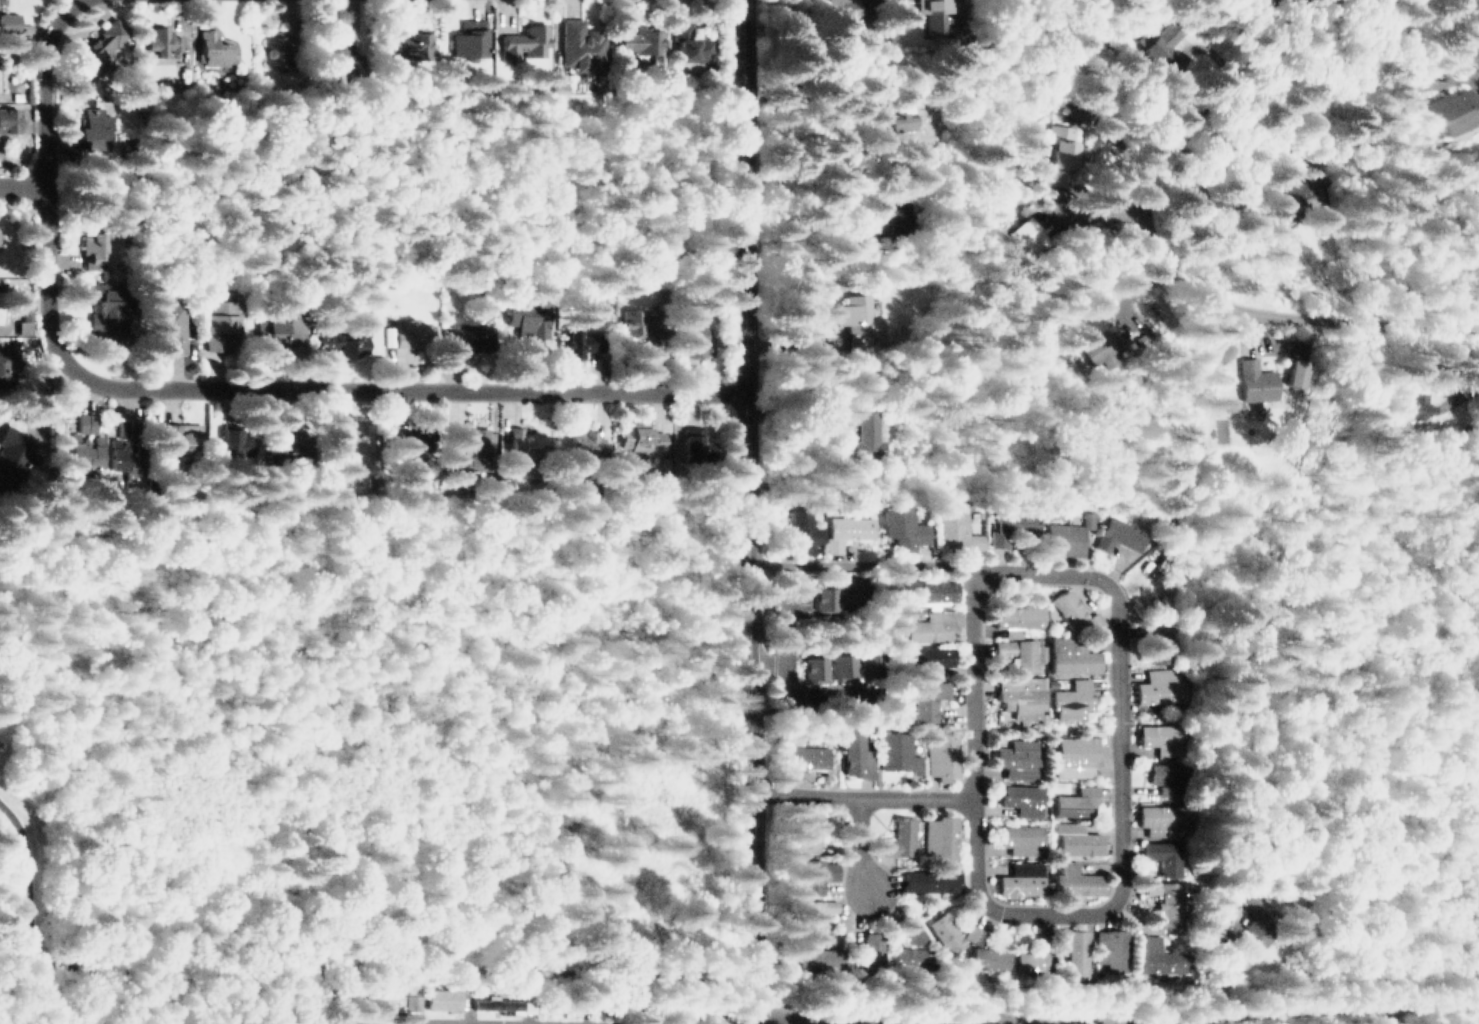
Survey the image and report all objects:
building: (842, 10)
building: (933, 14)
building: (8, 24)
building: (465, 37)
building: (642, 39)
building: (156, 40)
building: (522, 42)
building: (689, 42)
building: (411, 43)
building: (275, 44)
building: (97, 45)
building: (1160, 45)
building: (213, 47)
building: (582, 48)
building: (331, 58)
building: (1464, 112)
building: (8, 118)
building: (898, 119)
building: (93, 127)
building: (1061, 155)
road: (23, 184)
building: (1306, 200)
road: (1085, 208)
building: (896, 215)
road: (1151, 234)
building: (1019, 237)
building: (90, 248)
building: (104, 309)
building: (526, 316)
building: (219, 318)
building: (633, 318)
building: (856, 321)
building: (21, 322)
building: (170, 324)
building: (278, 328)
building: (469, 332)
building: (406, 334)
building: (693, 339)
building: (343, 340)
building: (575, 342)
building: (1098, 348)
building: (4, 364)
building: (1296, 375)
building: (1254, 382)
road: (212, 386)
building: (1428, 405)
building: (352, 435)
building: (412, 436)
building: (871, 437)
building: (233, 438)
building: (81, 439)
building: (639, 439)
building: (169, 441)
building: (578, 442)
building: (289, 444)
building: (525, 444)
building: (691, 445)
building: (465, 450)
building: (11, 452)
building: (126, 458)
road: (749, 511)
building: (951, 522)
building: (1011, 524)
building: (903, 525)
building: (844, 529)
building: (801, 533)
building: (1068, 534)
building: (1118, 535)
road: (863, 564)
building: (931, 588)
building: (854, 594)
building: (826, 599)
building: (1074, 610)
road: (465, 616)
building: (1015, 616)
building: (933, 624)
building: (1159, 638)
building: (1021, 652)
building: (1074, 653)
building: (932, 655)
road: (657, 666)
building: (844, 668)
building: (815, 670)
building: (1161, 684)
building: (1022, 697)
building: (929, 698)
building: (1074, 698)
building: (1159, 736)
building: (896, 750)
building: (942, 752)
building: (805, 753)
building: (854, 754)
building: (1079, 755)
building: (1019, 757)
building: (1167, 777)
building: (1022, 795)
road: (1122, 795)
building: (1071, 802)
building: (1160, 817)
building: (807, 832)
building: (898, 837)
building: (1021, 838)
building: (1077, 838)
building: (941, 839)
road: (861, 844)
building: (1163, 852)
building: (814, 872)
building: (929, 878)
building: (1020, 879)
building: (1076, 880)
building: (1167, 898)
building: (815, 910)
building: (1257, 915)
building: (945, 932)
building: (916, 934)
building: (974, 934)
building: (1113, 947)
building: (1073, 949)
building: (871, 952)
building: (1158, 954)
building: (911, 956)
building: (1027, 956)
building: (989, 957)
building: (815, 958)
building: (441, 1000)
building: (504, 1001)
building: (387, 1002)
road: (309, 1004)
road: (1114, 1014)
road: (1400, 1016)
building: (369, 1019)
road: (958, 1021)

